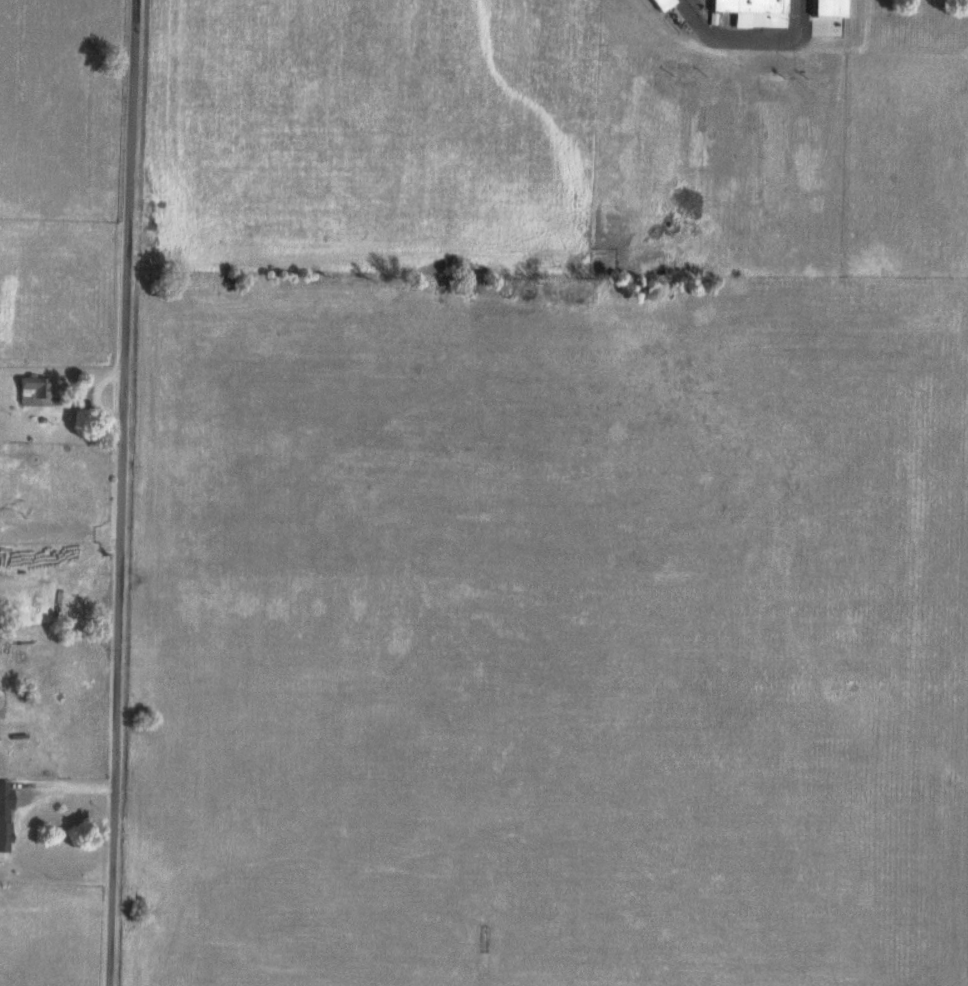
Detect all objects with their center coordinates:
building: (661, 4)
building: (752, 12)
building: (826, 18)
building: (32, 392)
road: (122, 492)
road: (56, 788)
building: (3, 816)

